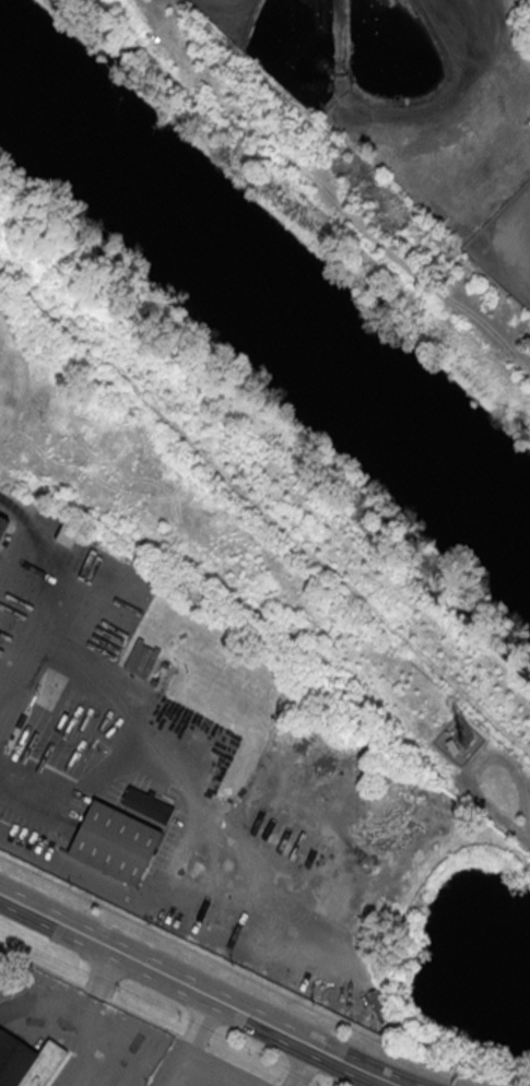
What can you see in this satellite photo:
road: (520, 226)
power substation: (507, 245)
river: (264, 307)
park: (263, 451)
building: (2, 522)
road: (28, 770)
building: (114, 842)
road: (246, 975)
road: (200, 991)
road: (143, 1016)
road: (196, 1048)
building: (27, 1061)
road: (304, 1066)
road: (186, 1079)

